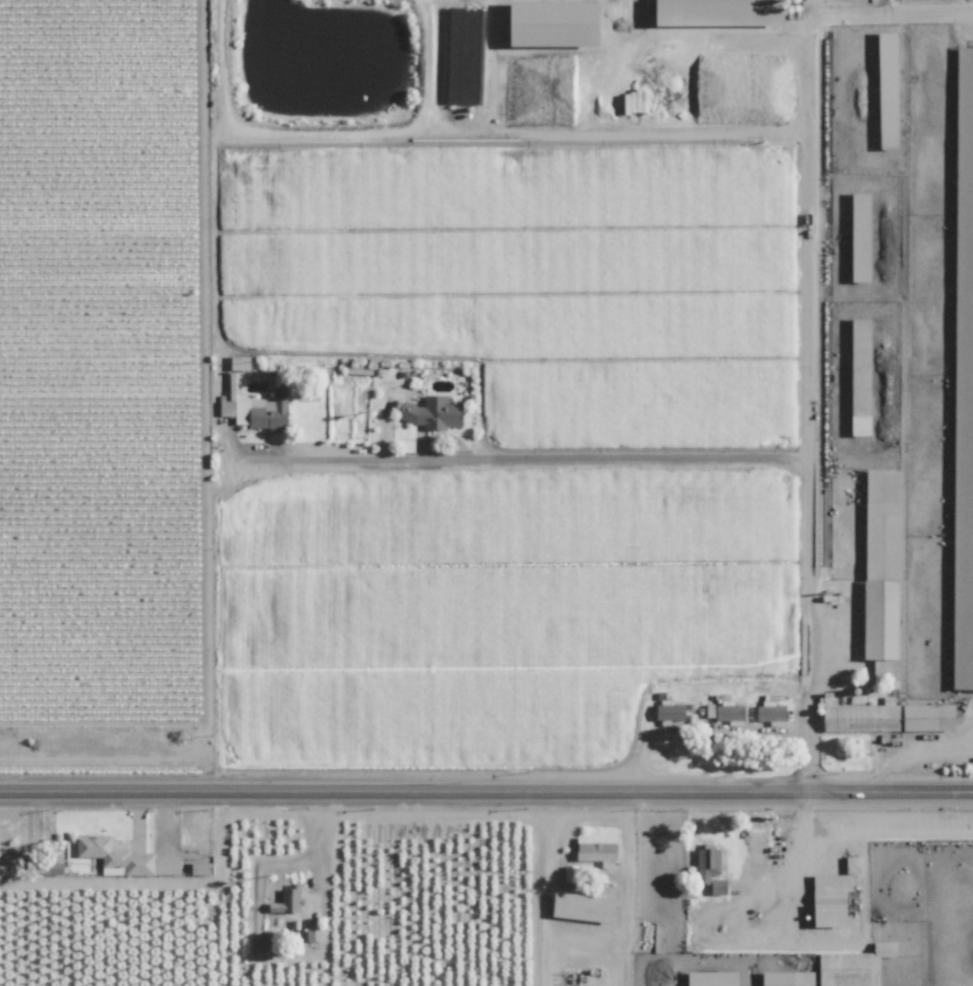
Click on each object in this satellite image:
road: (882, 13)
building: (965, 68)
building: (891, 85)
building: (863, 237)
building: (863, 377)
crop: (589, 390)
building: (259, 410)
building: (434, 412)
road: (807, 412)
road: (531, 452)
building: (885, 569)
building: (771, 709)
building: (725, 711)
building: (672, 712)
building: (888, 716)
road: (707, 739)
road: (930, 757)
road: (486, 783)
road: (891, 837)
road: (316, 845)
building: (596, 849)
building: (125, 857)
building: (202, 867)
building: (711, 868)
road: (802, 870)
building: (570, 872)
crop: (904, 885)
building: (289, 899)
building: (833, 899)
crop: (419, 901)
building: (314, 932)
crop: (102, 933)
road: (584, 938)
building: (854, 965)
building: (714, 978)
building: (790, 978)

